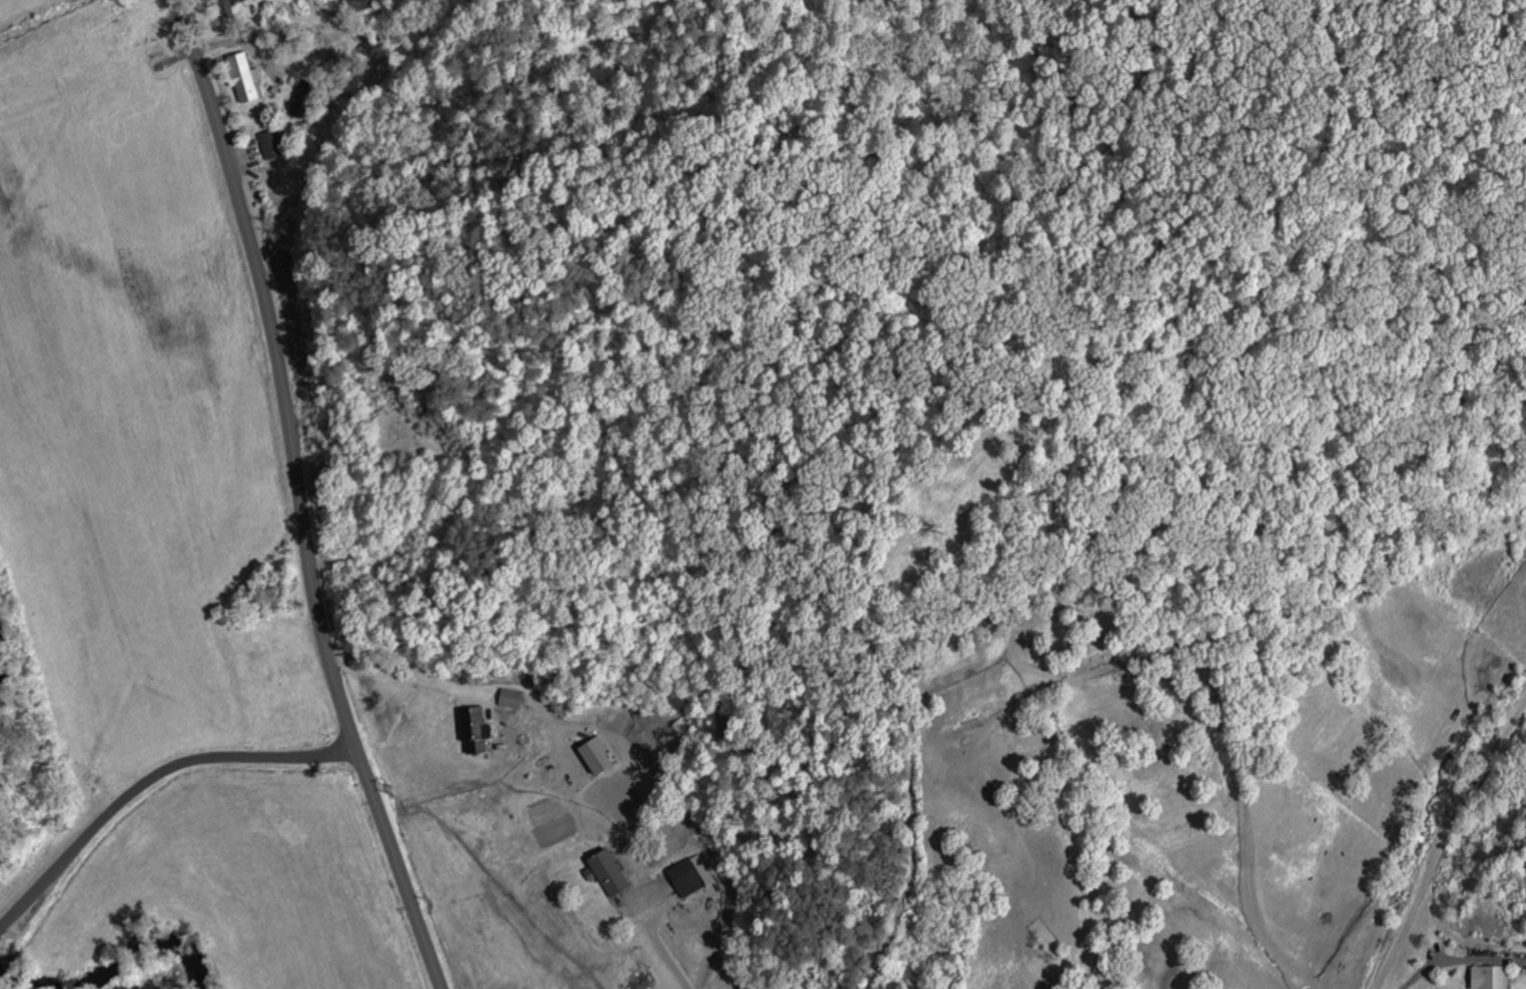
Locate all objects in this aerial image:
building: (231, 4)
building: (270, 145)
road: (297, 496)
building: (508, 698)
building: (470, 728)
road: (141, 783)
building: (606, 873)
building: (688, 876)
road: (737, 927)
building: (1484, 977)

